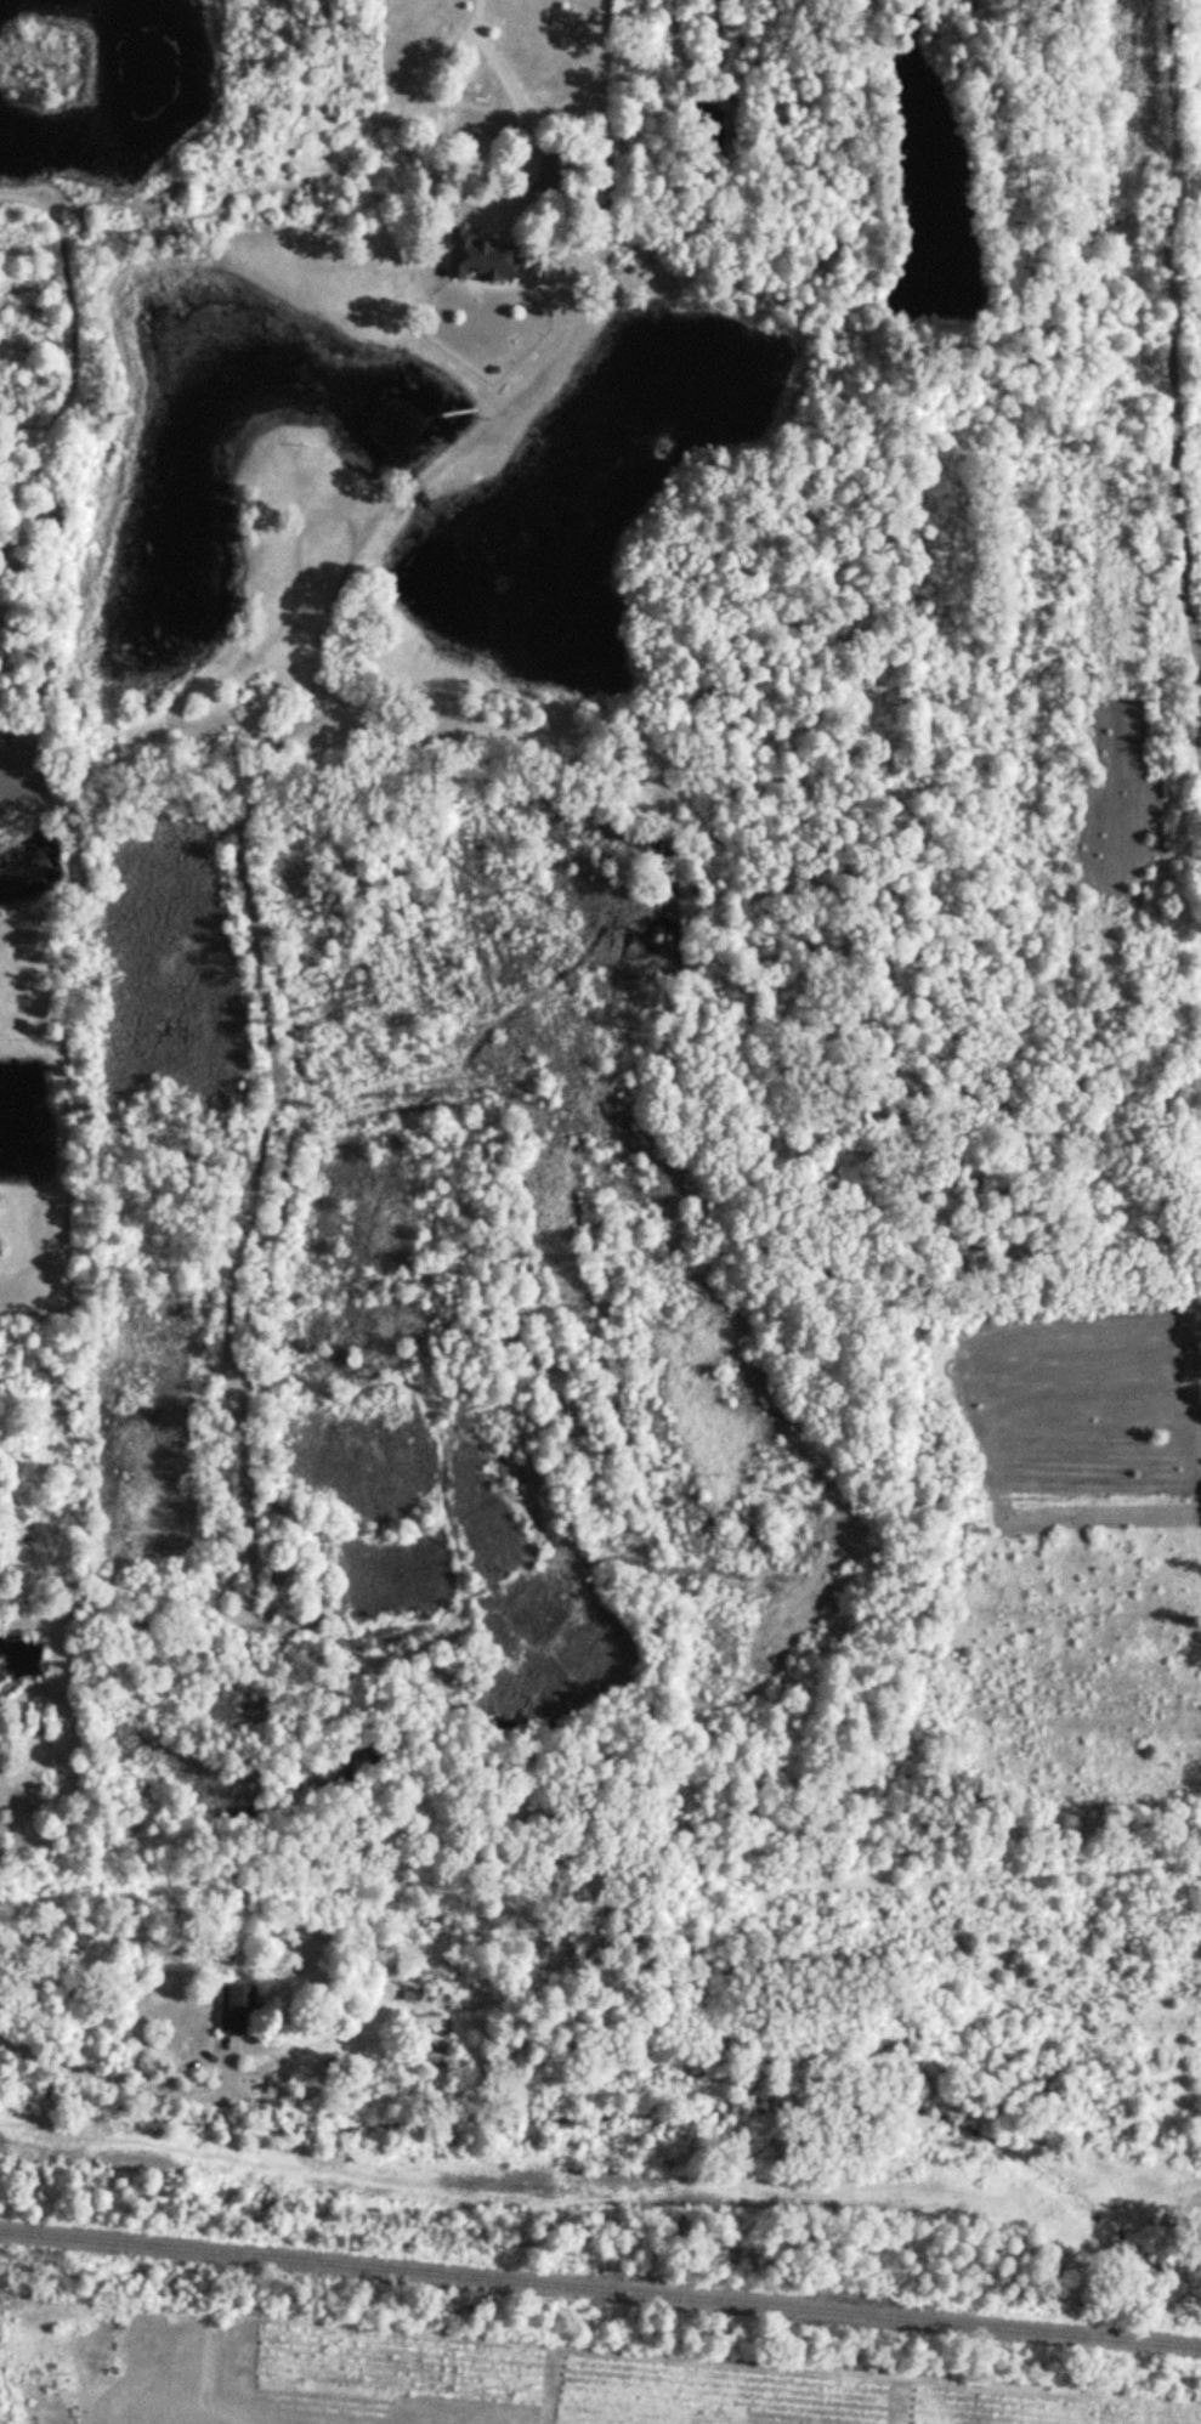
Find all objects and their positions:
road: (478, 16)
road: (482, 199)
building: (477, 257)
building: (237, 2009)
building: (421, 2021)
building: (427, 2055)
road: (69, 2063)
road: (225, 2066)
railway: (600, 2289)

